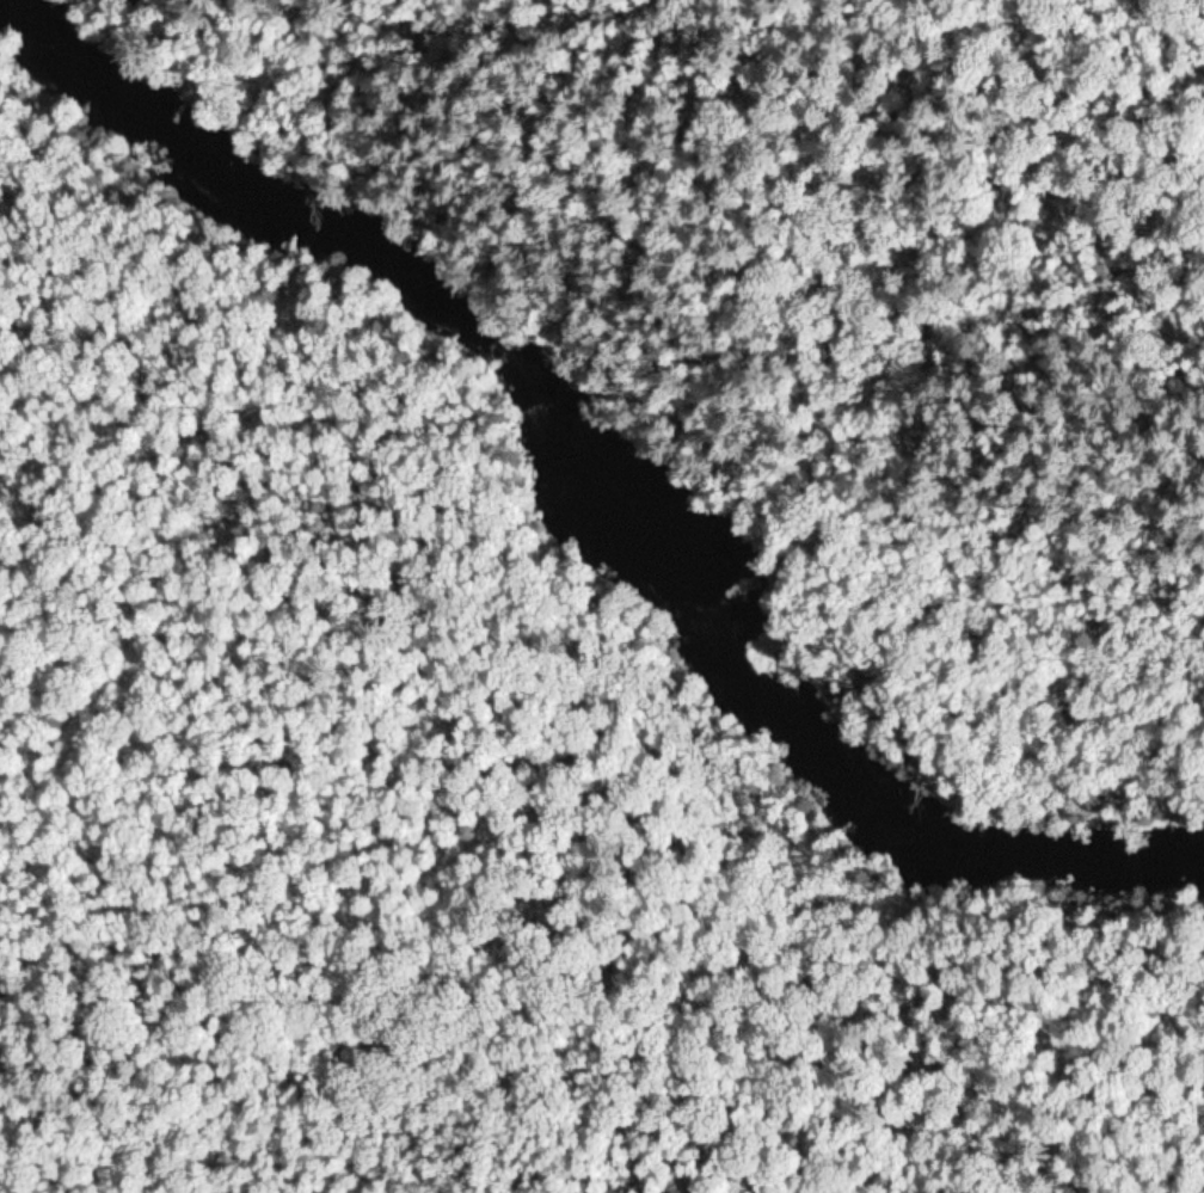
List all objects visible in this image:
river: (602, 492)

